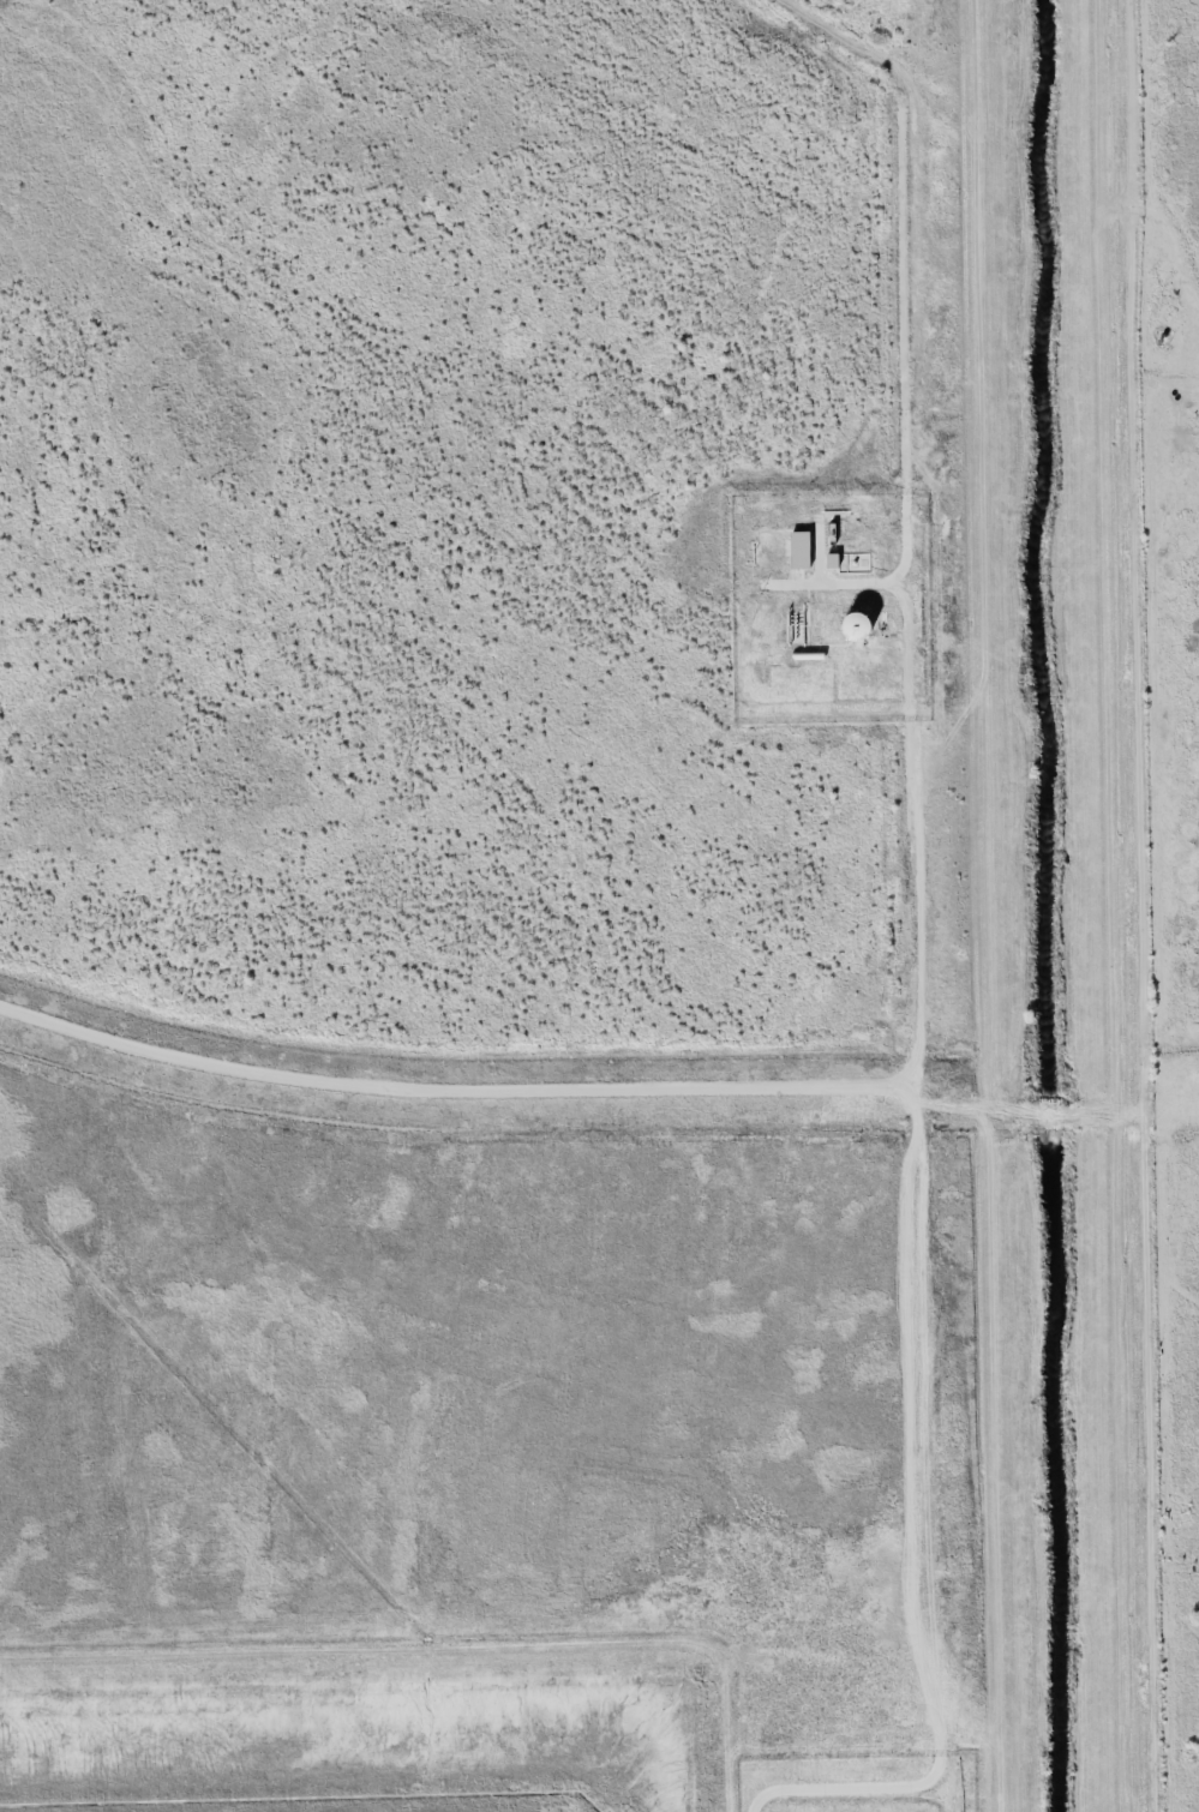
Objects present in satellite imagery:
railway: (1195, 0)
building: (799, 550)
building: (832, 560)
road: (917, 869)
road: (1179, 1091)
road: (451, 1093)
road: (1039, 1118)

